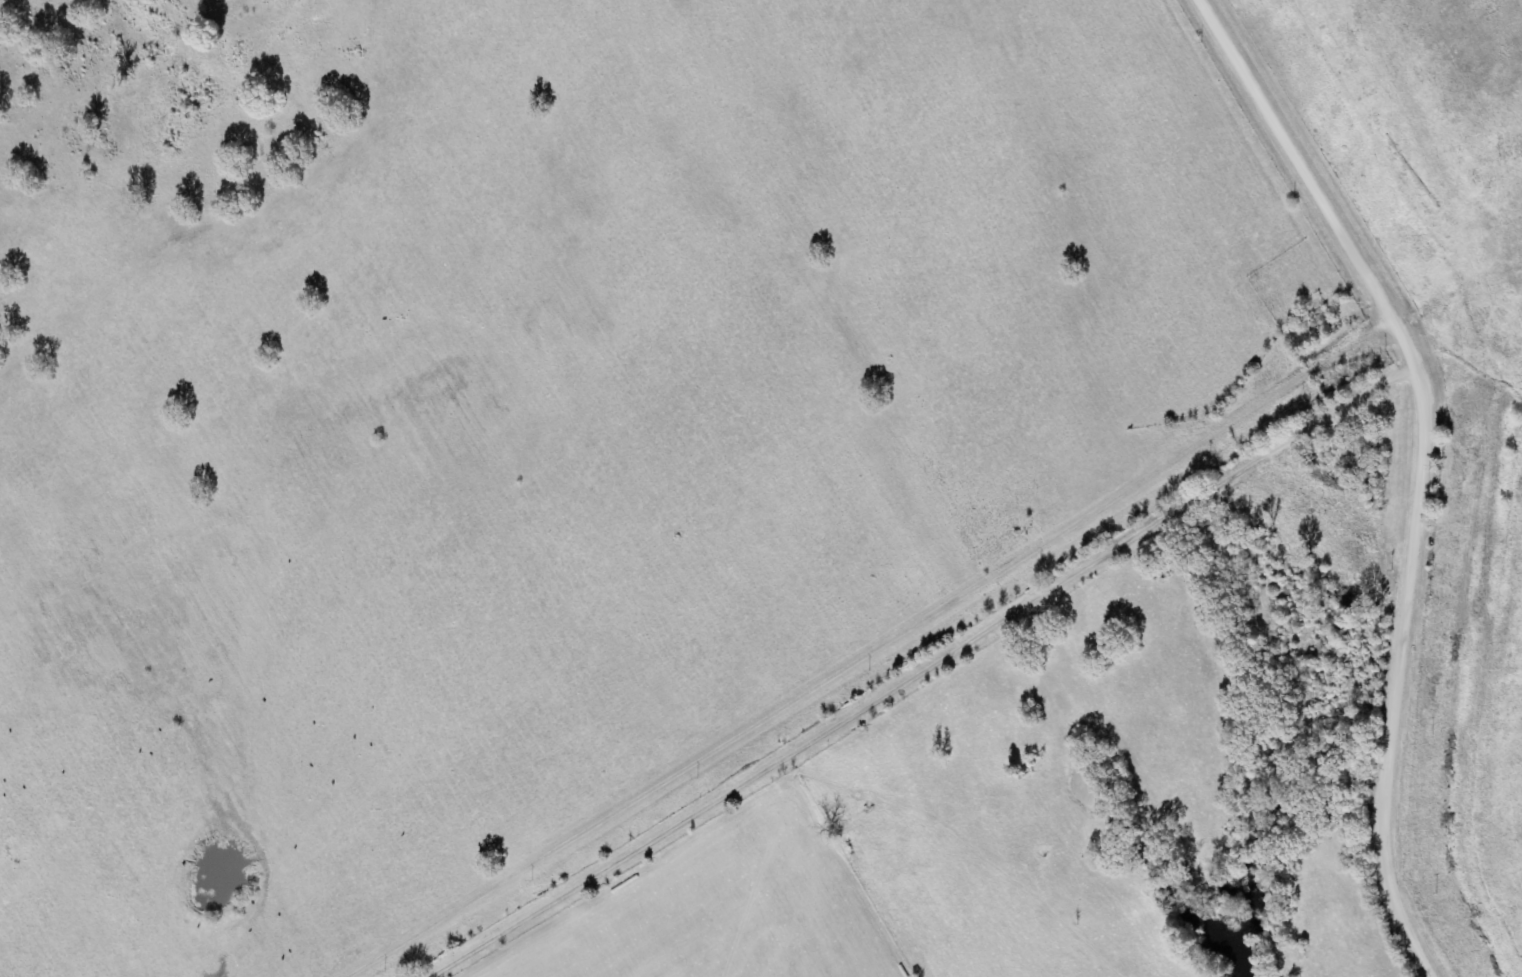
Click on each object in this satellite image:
road: (1421, 463)

